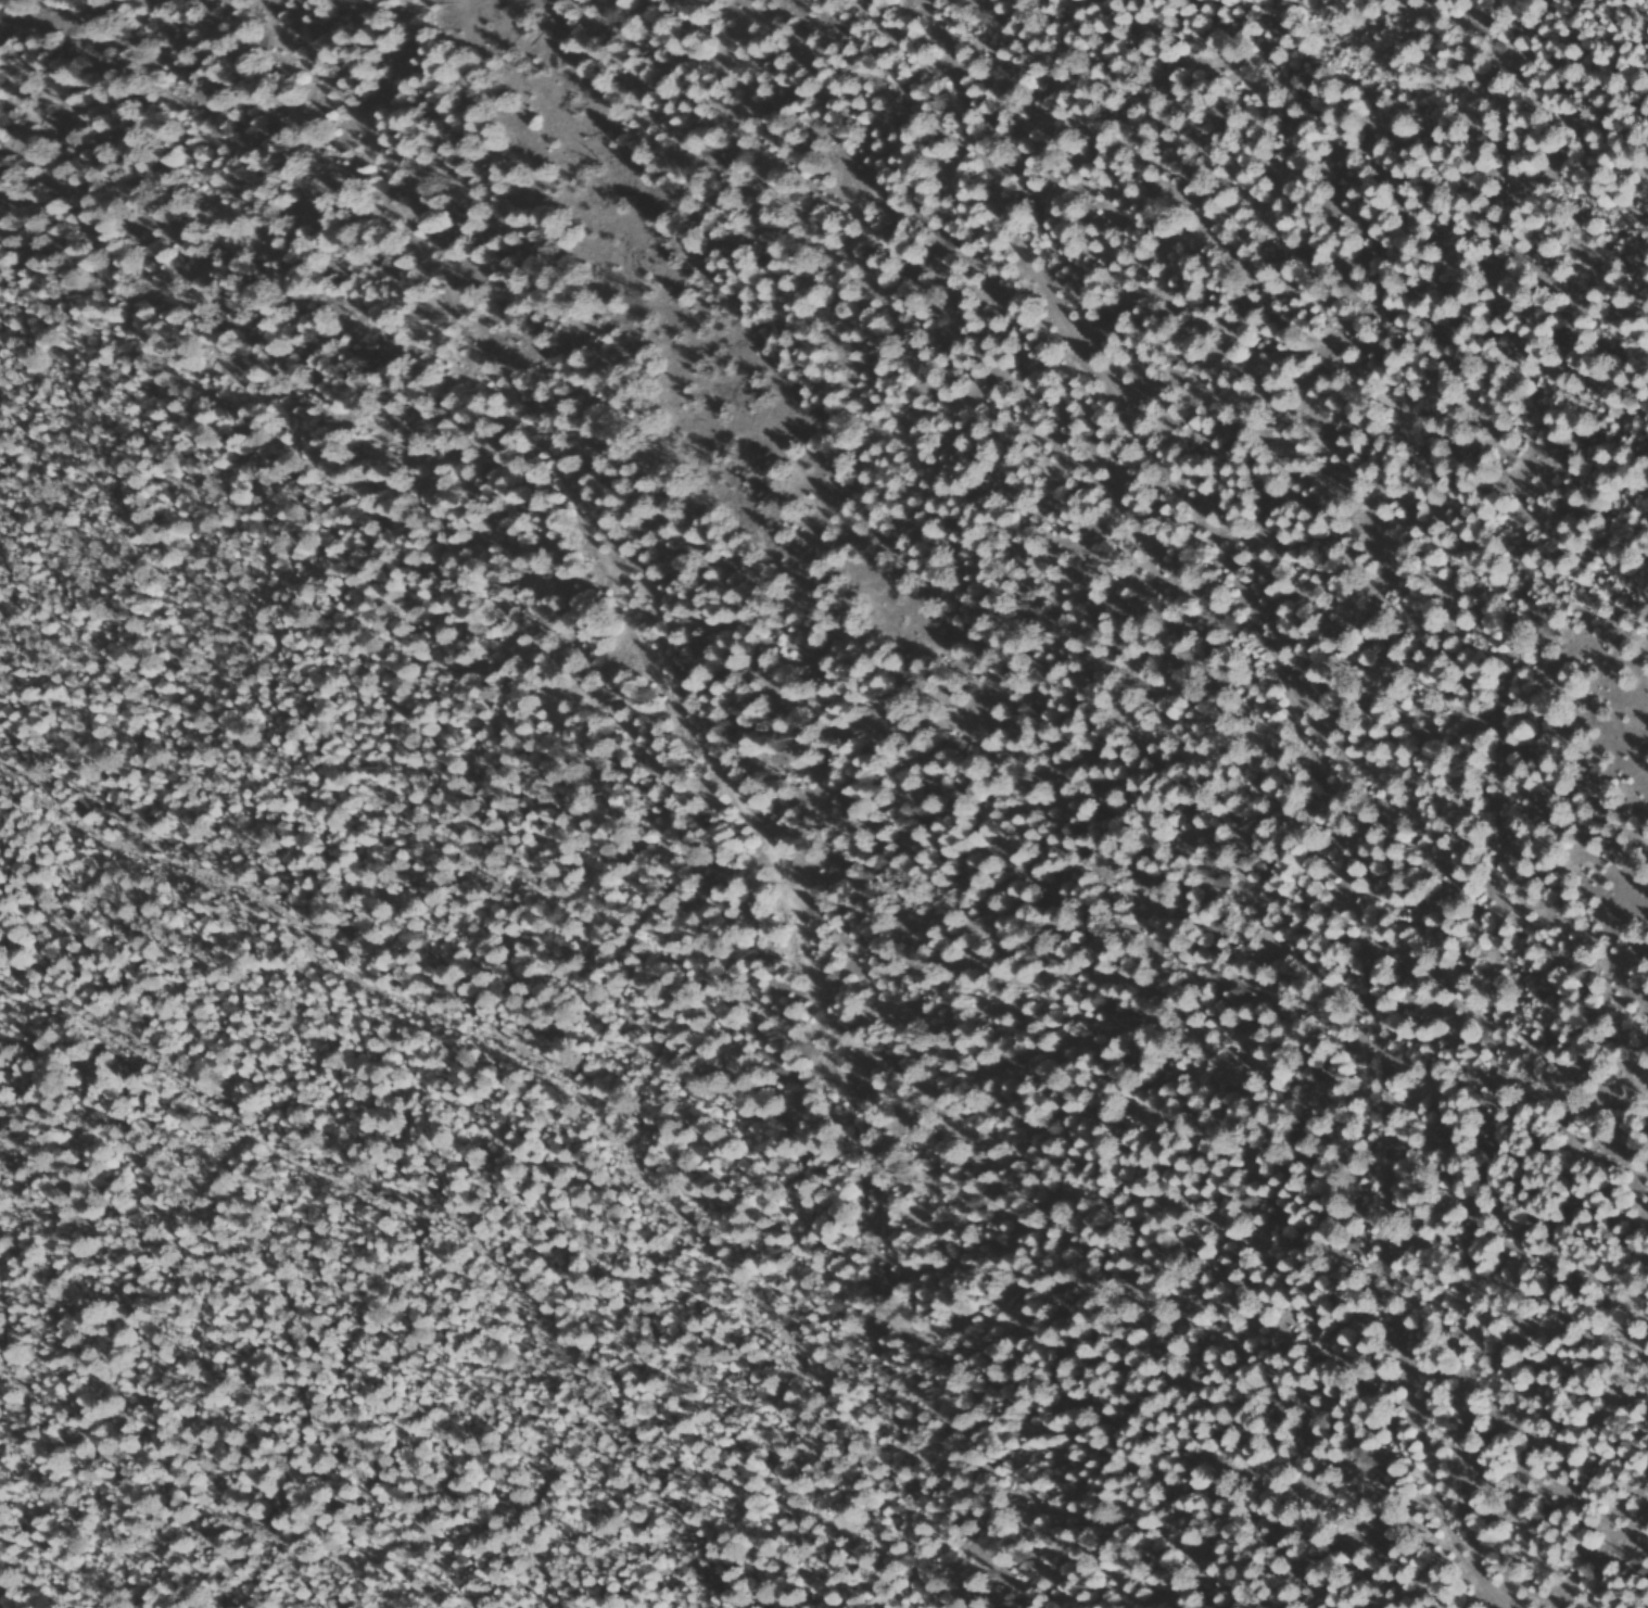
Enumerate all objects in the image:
road: (11, 180)
road: (635, 780)
road: (1158, 795)
road: (1407, 888)
road: (354, 1315)

